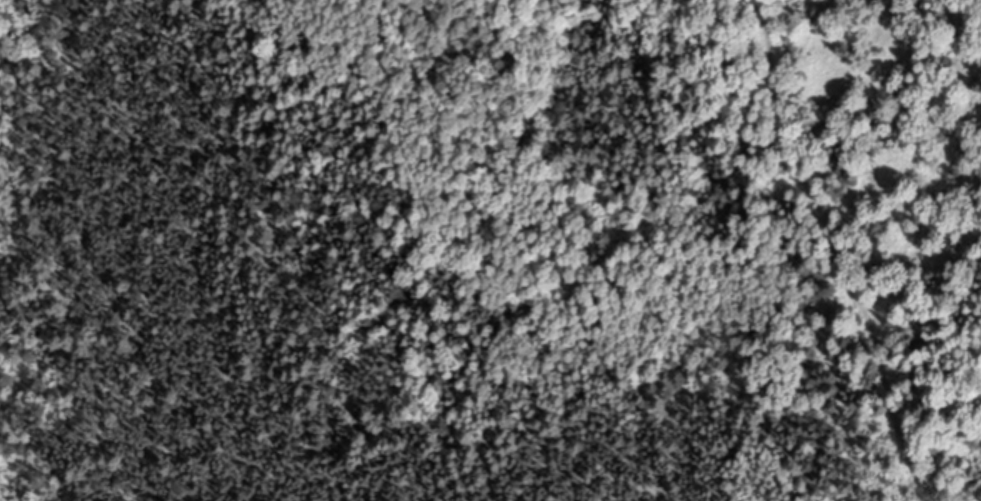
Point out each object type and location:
road: (845, 261)

